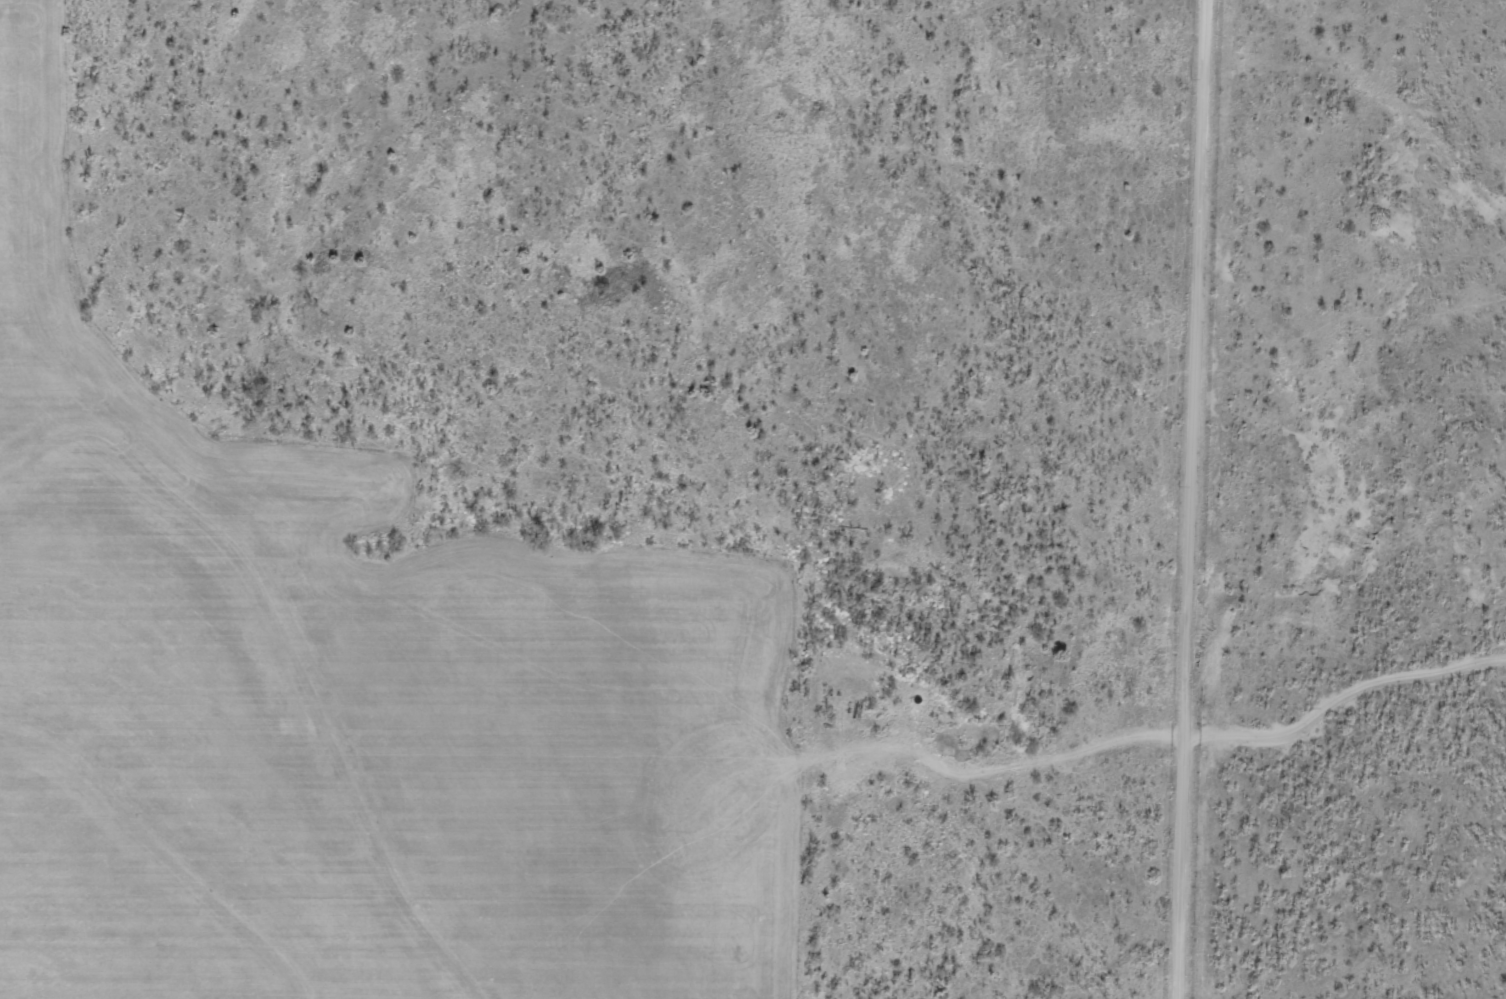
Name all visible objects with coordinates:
road: (1192, 499)
road: (1342, 695)

